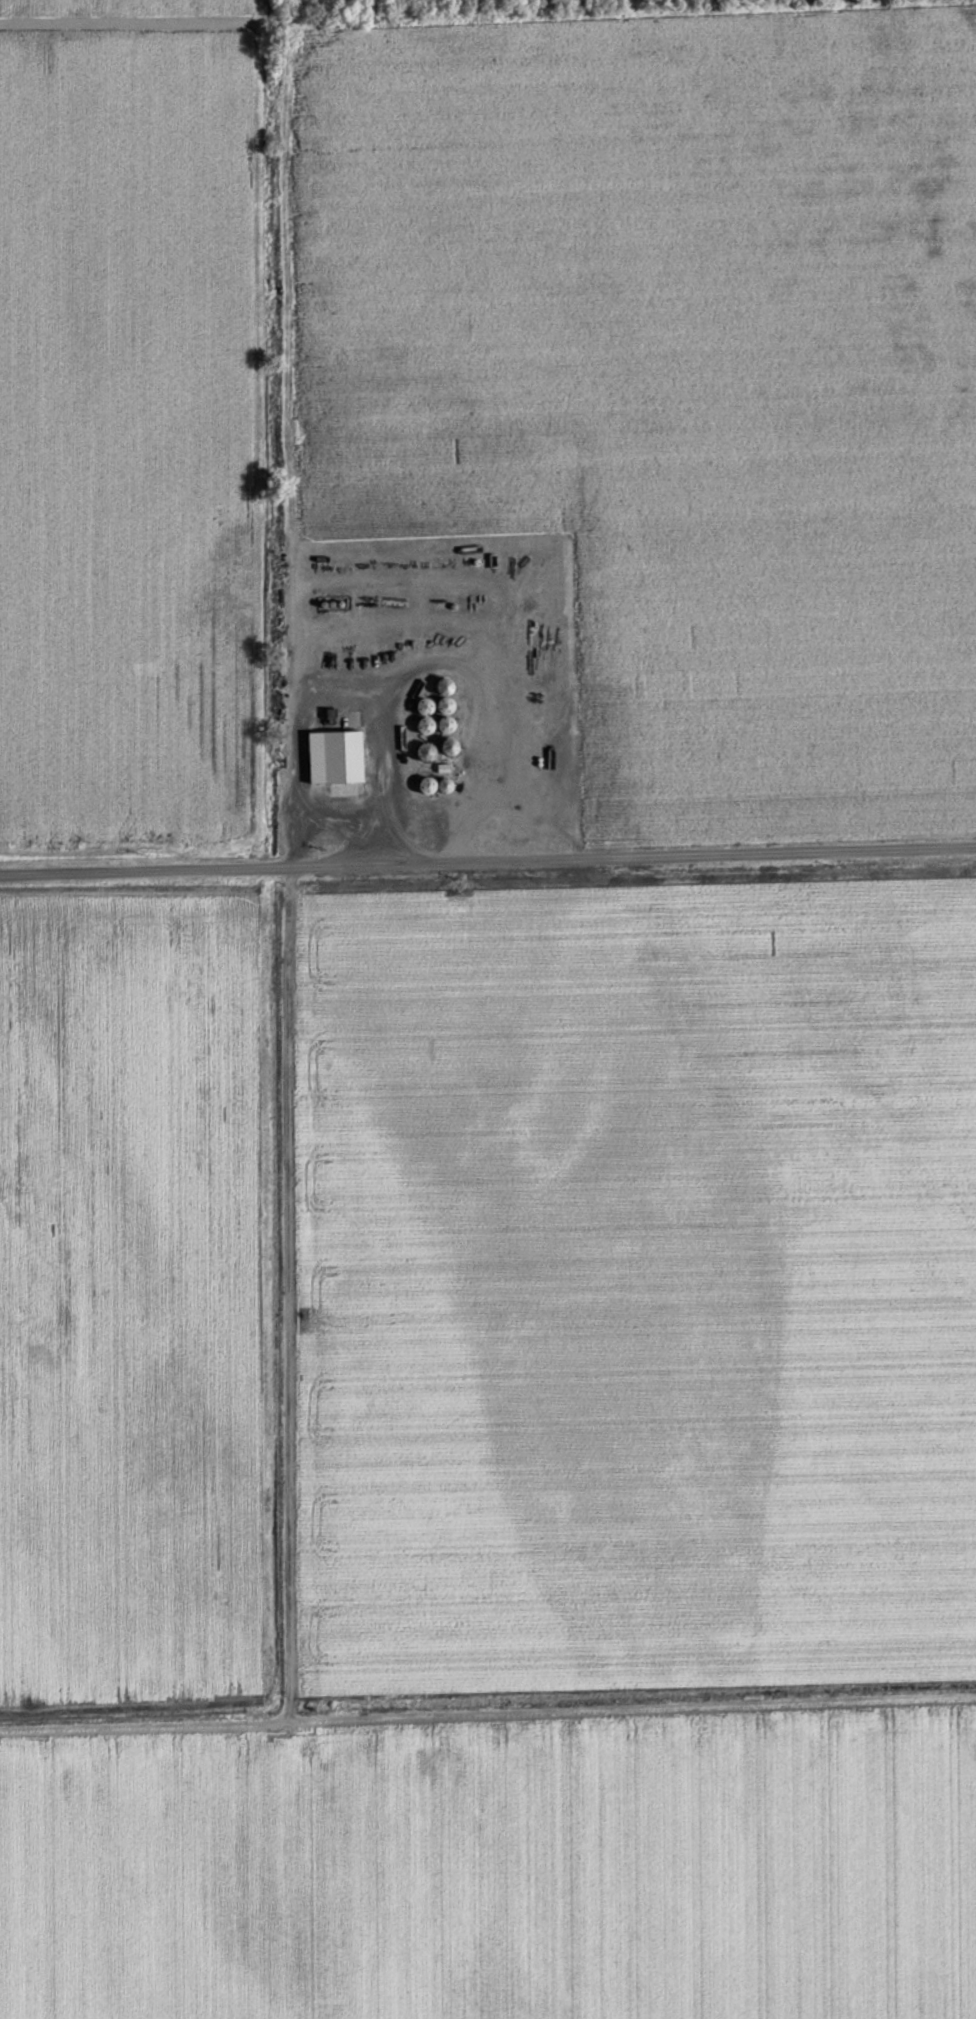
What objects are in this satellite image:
building: (332, 756)
road: (488, 859)

